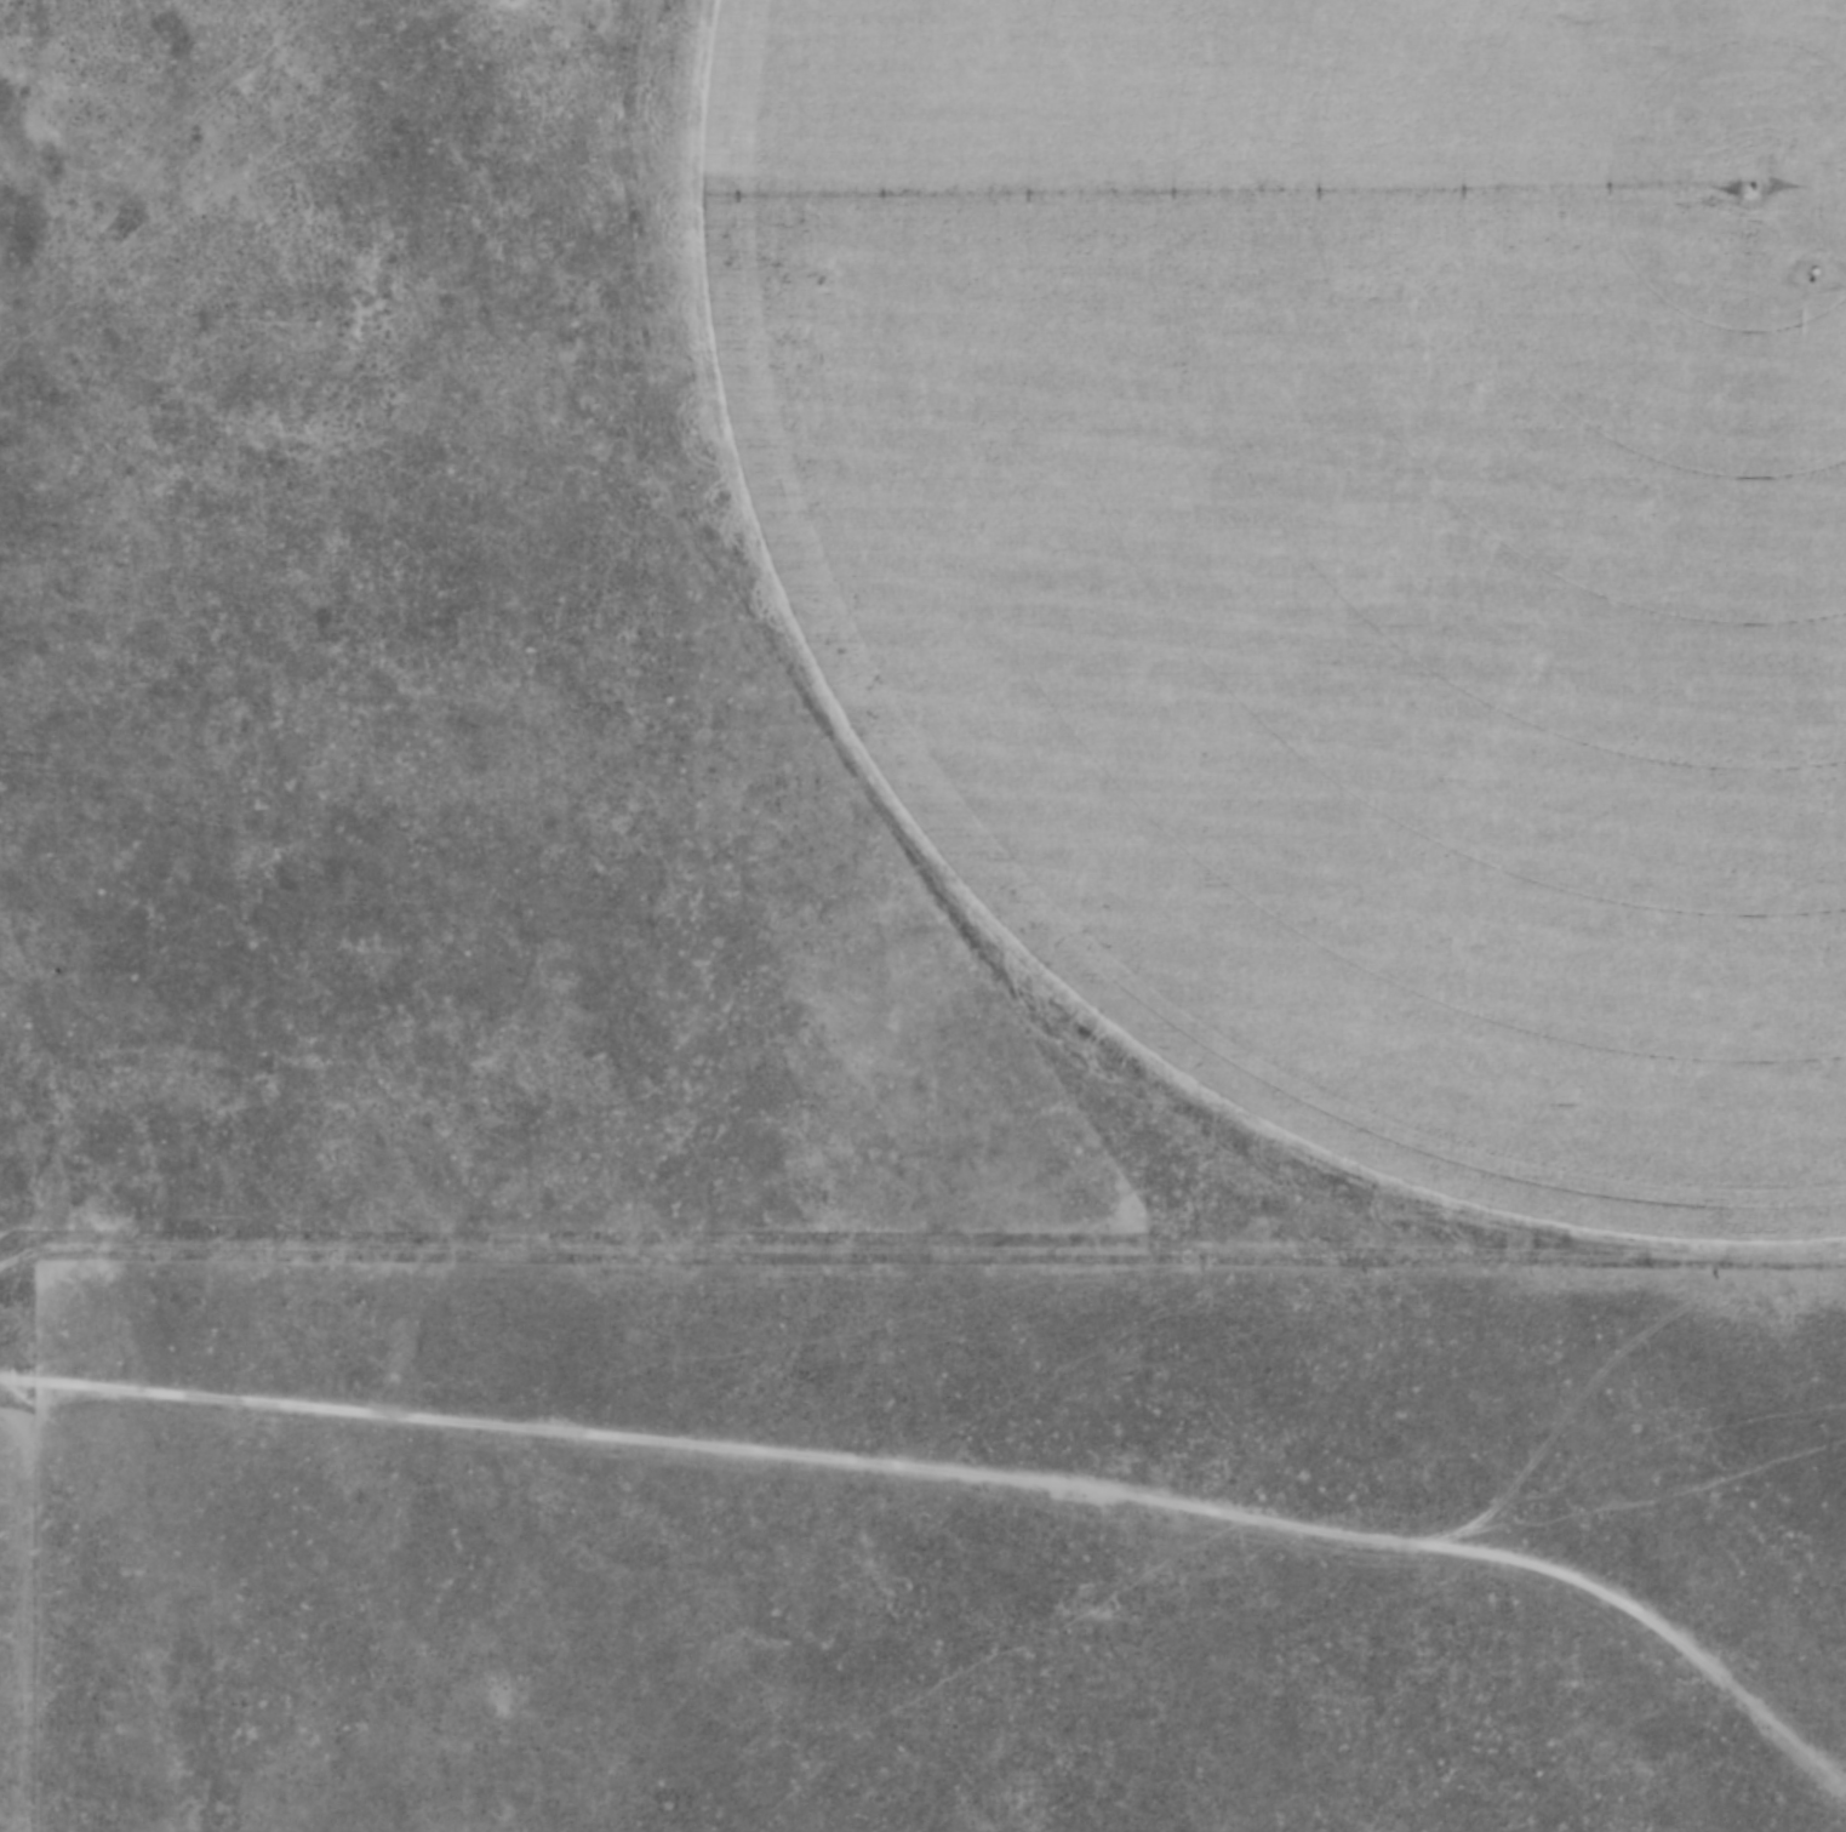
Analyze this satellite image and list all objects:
crop: (1353, 538)
road: (17, 1381)
road: (976, 1476)

